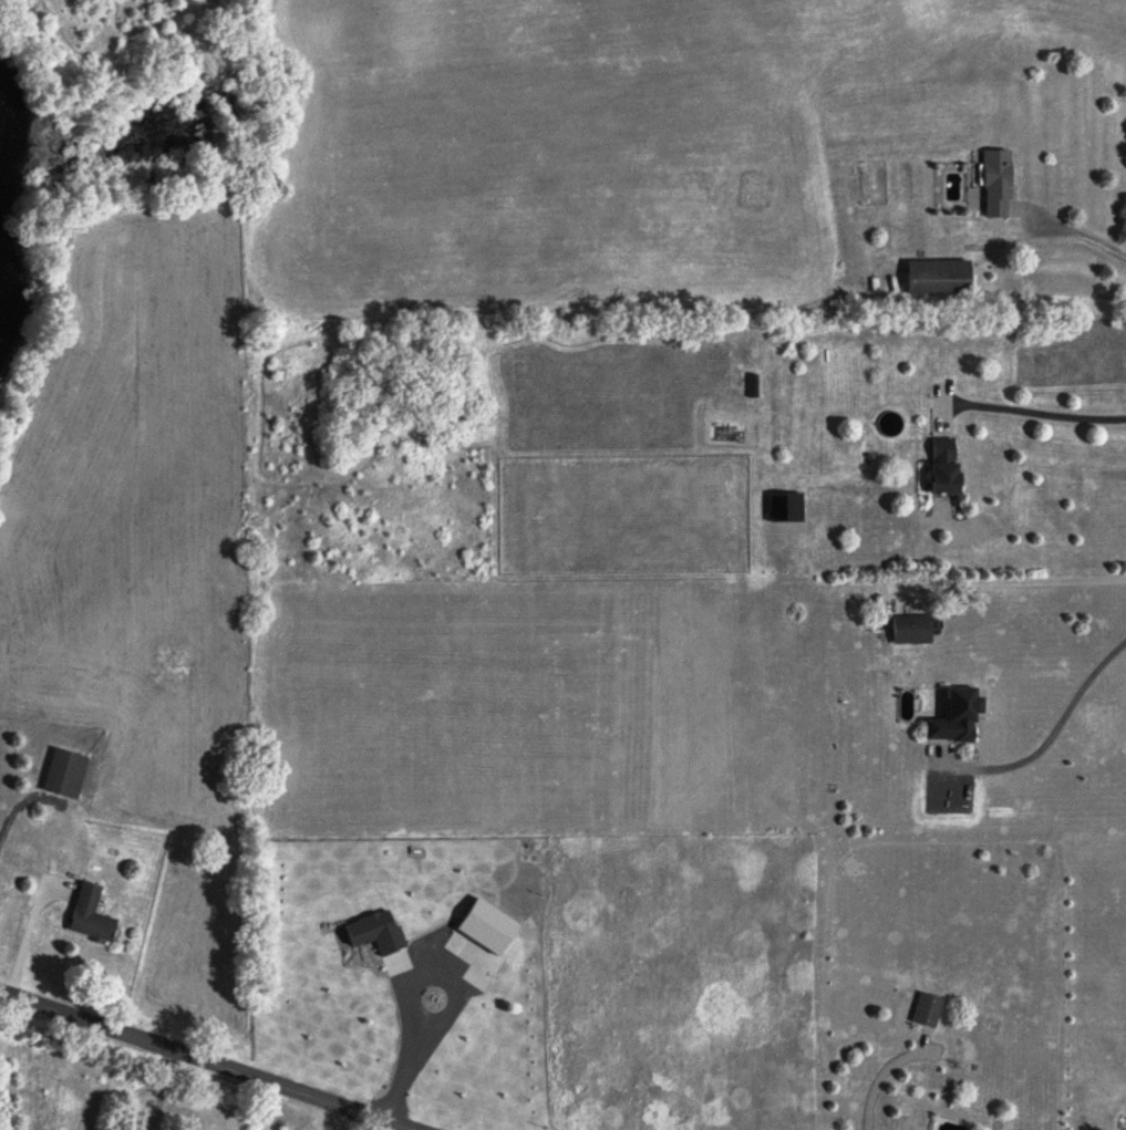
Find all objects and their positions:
building: (1000, 185)
road: (1081, 229)
building: (942, 279)
road: (1035, 410)
building: (948, 469)
building: (787, 509)
road: (1027, 579)
building: (913, 631)
building: (961, 717)
road: (1054, 734)
building: (65, 775)
building: (93, 915)
road: (452, 1007)
building: (929, 1012)
road: (203, 1061)
road: (156, 1089)

